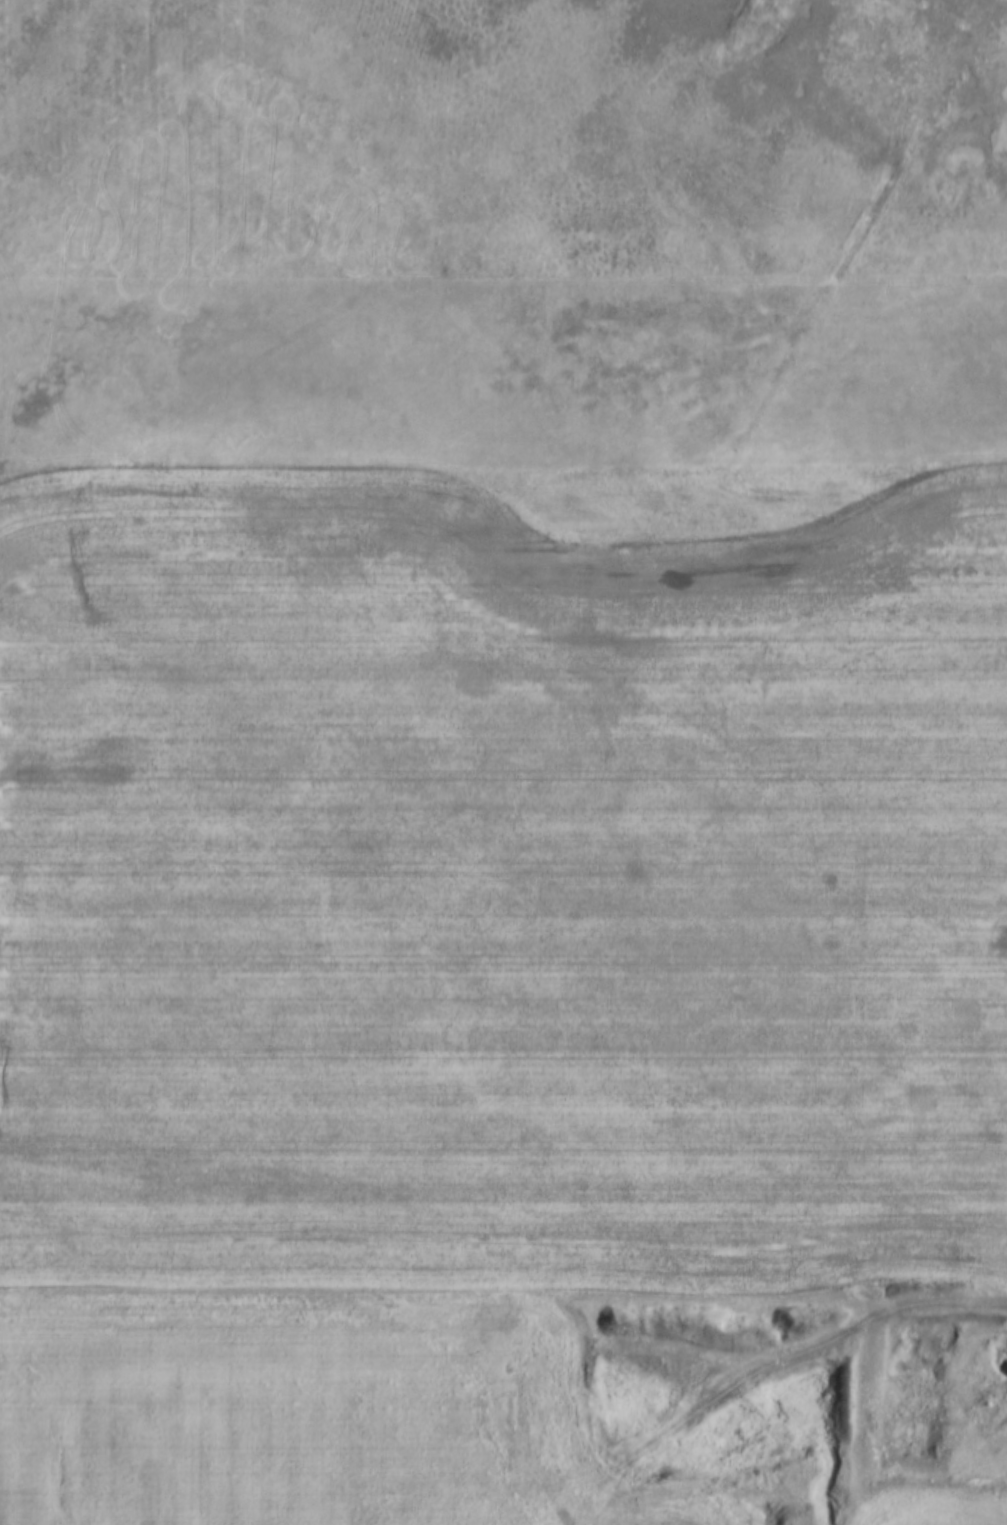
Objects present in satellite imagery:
road: (753, 1372)

